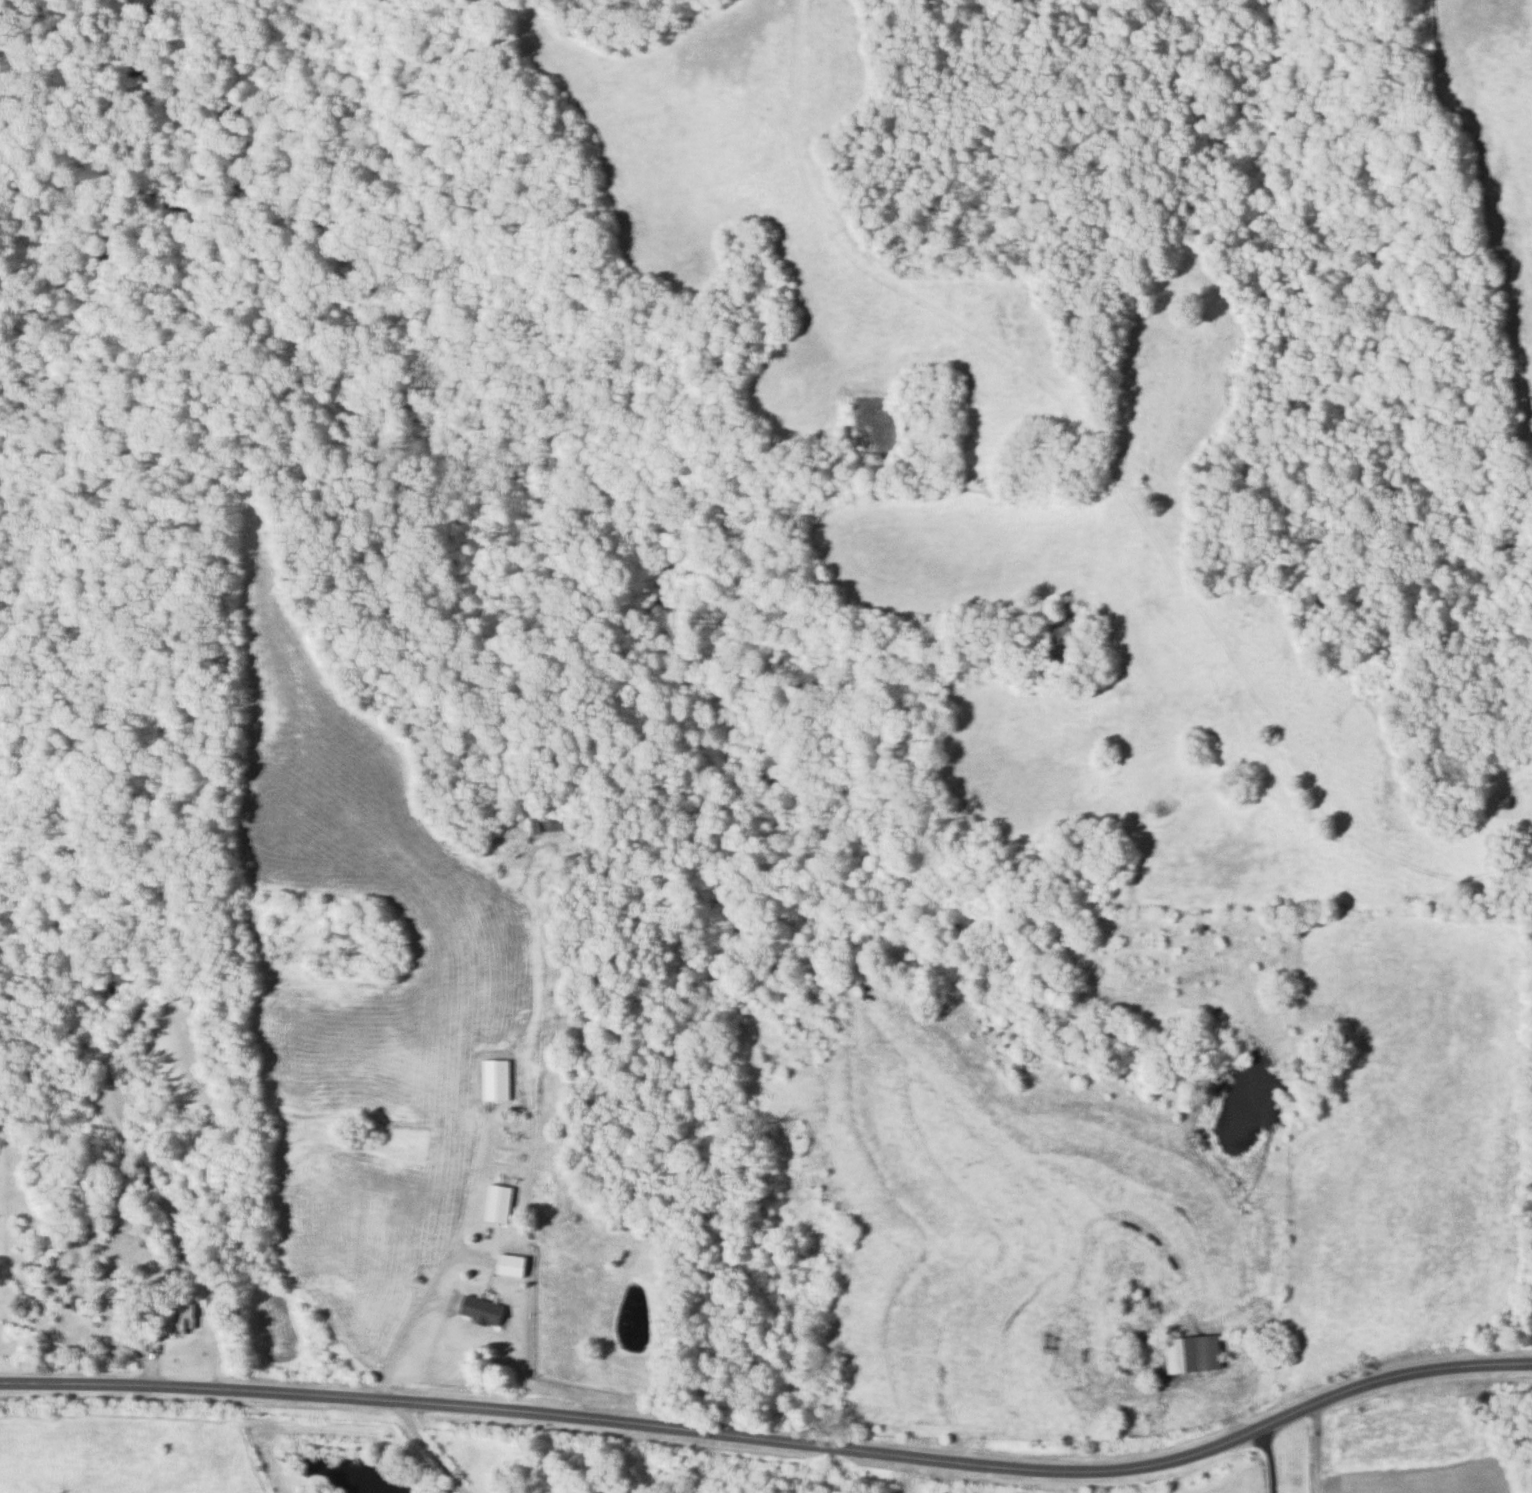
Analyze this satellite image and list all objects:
road: (1117, 475)
building: (1502, 802)
building: (553, 826)
building: (501, 1205)
building: (514, 1266)
building: (68, 1302)
building: (484, 1311)
building: (183, 1321)
road: (399, 1339)
building: (1190, 1353)
road: (1169, 1392)
road: (774, 1438)
road: (430, 1450)
road: (1270, 1460)

